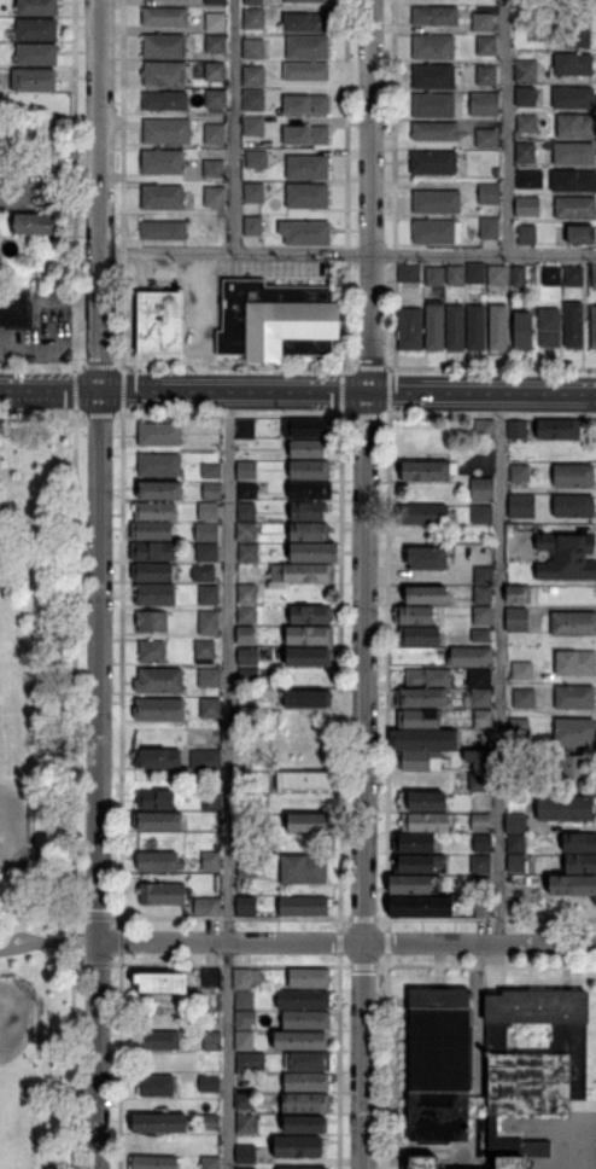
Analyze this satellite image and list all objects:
building: (306, 0)
building: (215, 1)
building: (253, 1)
building: (36, 7)
building: (166, 16)
building: (436, 16)
building: (253, 18)
building: (216, 22)
building: (306, 22)
building: (483, 22)
building: (35, 29)
building: (569, 36)
building: (216, 43)
building: (486, 45)
building: (164, 46)
building: (308, 47)
building: (434, 47)
building: (255, 48)
building: (36, 54)
building: (573, 63)
building: (526, 70)
building: (215, 71)
building: (306, 71)
building: (164, 72)
building: (486, 74)
building: (253, 76)
building: (433, 76)
building: (35, 78)
building: (526, 95)
building: (573, 97)
building: (216, 99)
building: (255, 99)
building: (165, 100)
building: (484, 103)
building: (308, 104)
building: (434, 105)
building: (526, 123)
building: (253, 124)
building: (577, 124)
road: (235, 126)
road: (507, 127)
building: (166, 130)
building: (436, 130)
building: (215, 133)
building: (306, 134)
building: (486, 136)
building: (526, 151)
building: (574, 152)
building: (19, 157)
building: (256, 158)
building: (163, 161)
building: (434, 162)
building: (214, 167)
building: (308, 167)
building: (497, 171)
building: (530, 179)
building: (574, 180)
building: (255, 192)
building: (489, 193)
road: (100, 194)
building: (163, 196)
building: (215, 196)
building: (308, 196)
road: (369, 196)
building: (437, 202)
building: (528, 205)
building: (575, 207)
building: (34, 223)
building: (253, 226)
building: (490, 227)
building: (164, 229)
building: (437, 231)
building: (306, 232)
building: (527, 234)
building: (582, 234)
road: (347, 252)
building: (410, 272)
building: (477, 272)
building: (434, 275)
building: (456, 275)
building: (497, 275)
building: (519, 275)
building: (553, 275)
building: (574, 275)
building: (594, 275)
building: (14, 307)
building: (276, 319)
building: (160, 321)
building: (574, 324)
building: (434, 325)
building: (550, 325)
building: (594, 326)
building: (456, 327)
building: (477, 327)
building: (499, 327)
building: (410, 328)
building: (524, 330)
road: (298, 391)
road: (37, 414)
building: (305, 428)
building: (246, 429)
building: (485, 429)
building: (518, 429)
building: (560, 429)
building: (160, 432)
building: (308, 449)
building: (246, 454)
building: (160, 465)
building: (247, 470)
building: (310, 470)
building: (211, 471)
building: (428, 471)
building: (520, 472)
building: (573, 475)
building: (160, 490)
building: (481, 490)
building: (211, 492)
building: (247, 492)
building: (310, 492)
building: (520, 505)
building: (572, 506)
building: (153, 511)
building: (209, 512)
building: (246, 512)
building: (308, 512)
building: (422, 513)
building: (483, 514)
building: (151, 530)
building: (246, 531)
building: (205, 533)
building: (309, 533)
building: (152, 552)
building: (314, 552)
building: (206, 553)
building: (247, 553)
building: (567, 557)
building: (427, 559)
building: (253, 570)
building: (152, 572)
building: (203, 574)
building: (299, 575)
building: (484, 576)
building: (551, 589)
building: (246, 594)
building: (425, 594)
building: (518, 594)
building: (154, 595)
building: (483, 595)
building: (209, 597)
building: (311, 615)
building: (413, 615)
building: (246, 616)
building: (483, 616)
building: (518, 620)
building: (151, 621)
building: (209, 623)
building: (574, 624)
building: (479, 635)
building: (246, 636)
building: (310, 636)
building: (419, 636)
building: (151, 651)
building: (205, 652)
building: (246, 653)
building: (471, 657)
building: (309, 658)
building: (575, 663)
road: (367, 667)
road: (499, 668)
building: (522, 671)
building: (210, 677)
building: (247, 677)
building: (428, 679)
building: (479, 679)
building: (159, 681)
building: (421, 697)
building: (481, 698)
building: (574, 698)
building: (246, 699)
building: (308, 699)
building: (524, 699)
building: (210, 709)
building: (159, 710)
building: (247, 719)
building: (483, 719)
building: (419, 721)
building: (518, 729)
building: (574, 732)
building: (423, 739)
building: (308, 740)
building: (157, 758)
building: (480, 760)
building: (205, 761)
building: (244, 761)
building: (420, 761)
building: (574, 769)
road: (100, 779)
road: (228, 780)
building: (306, 781)
building: (480, 781)
building: (522, 784)
park: (42, 787)
road: (74, 791)
building: (519, 797)
building: (154, 799)
building: (210, 801)
building: (421, 802)
building: (247, 803)
building: (565, 808)
building: (157, 820)
building: (425, 822)
building: (480, 822)
building: (310, 824)
building: (515, 824)
park: (12, 826)
building: (481, 843)
building: (515, 843)
building: (579, 843)
building: (413, 844)
building: (217, 847)
building: (157, 861)
building: (211, 861)
building: (417, 863)
building: (516, 863)
building: (247, 865)
building: (480, 865)
building: (579, 865)
building: (304, 870)
building: (481, 883)
building: (572, 885)
building: (414, 886)
building: (162, 892)
building: (245, 905)
building: (206, 906)
building: (422, 906)
building: (304, 907)
building: (484, 907)
road: (49, 941)
road: (347, 942)
building: (211, 978)
building: (309, 978)
building: (246, 979)
building: (160, 982)
building: (303, 999)
building: (245, 1000)
park: (16, 1018)
building: (245, 1020)
building: (306, 1020)
building: (157, 1040)
building: (300, 1040)
building: (211, 1041)
building: (243, 1041)
road: (363, 1055)
building: (251, 1062)
building: (309, 1062)
building: (439, 1064)
building: (533, 1064)
building: (306, 1082)
building: (208, 1083)
building: (156, 1086)
building: (243, 1100)
building: (306, 1103)
building: (209, 1122)
building: (158, 1123)
building: (246, 1123)
building: (306, 1124)
building: (298, 1147)
building: (245, 1153)
building: (153, 1163)
building: (209, 1163)
building: (423, 1163)
building: (510, 1163)
building: (245, 1167)
building: (302, 1167)

